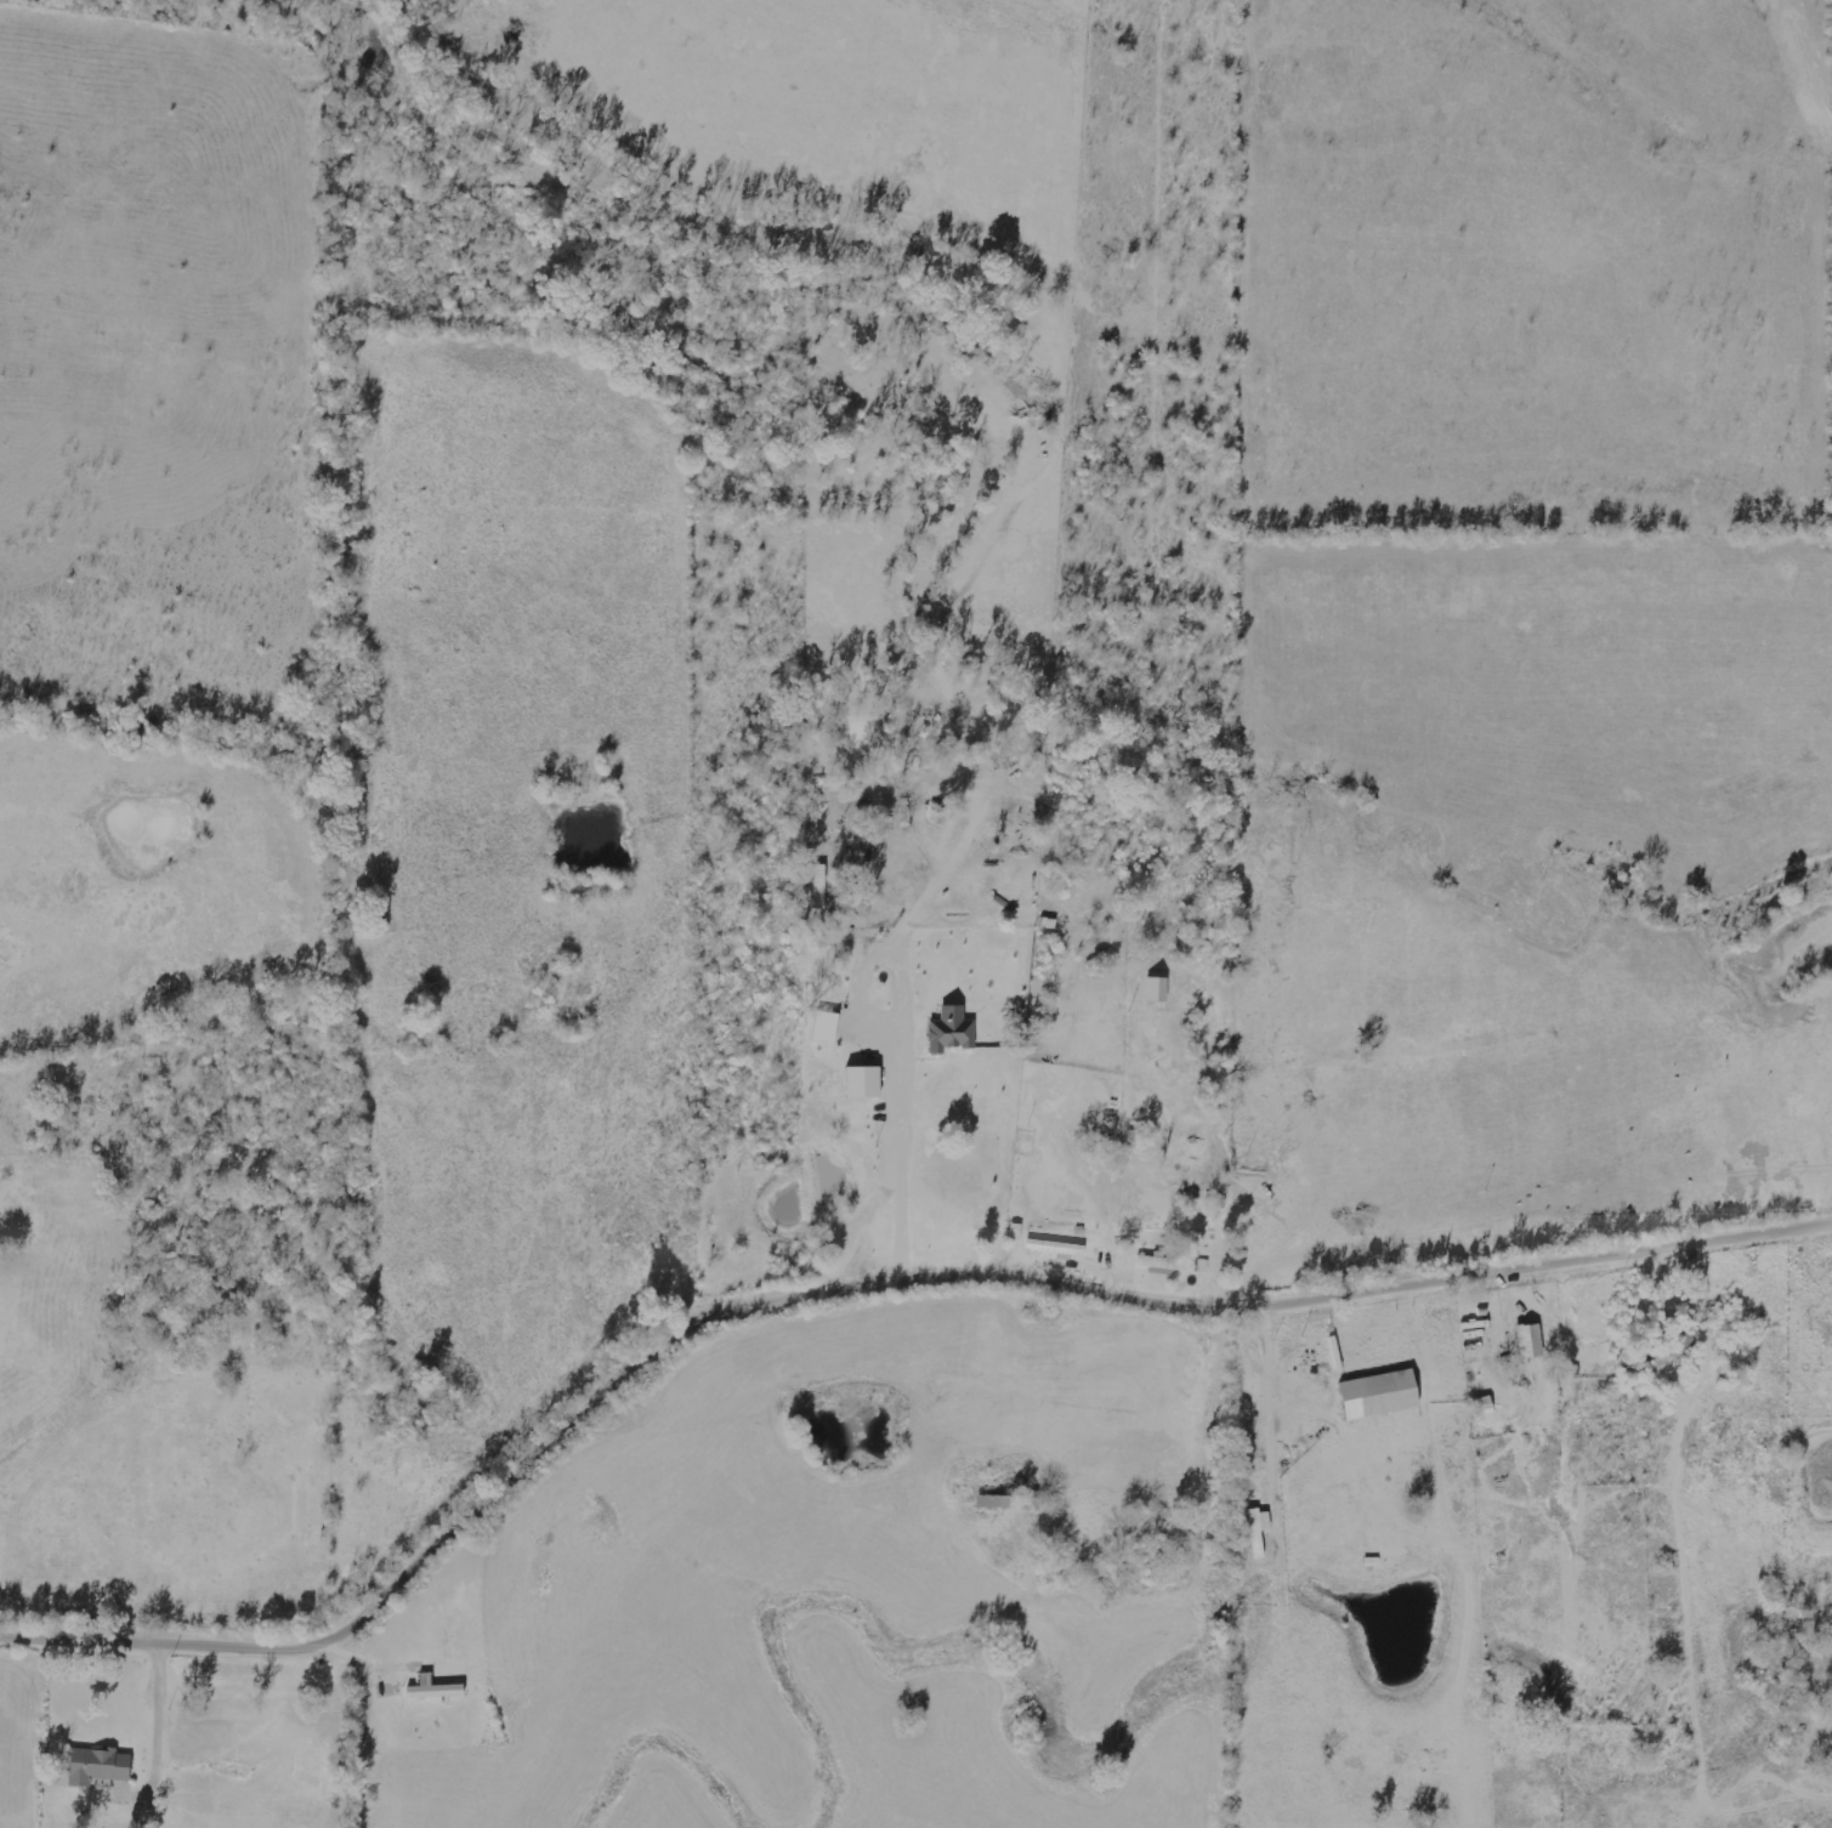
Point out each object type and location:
building: (1159, 989)
building: (828, 1026)
building: (953, 1031)
building: (866, 1082)
building: (1059, 1248)
building: (1168, 1264)
road: (857, 1291)
building: (1532, 1340)
building: (1382, 1395)
building: (1010, 1482)
building: (98, 1765)

